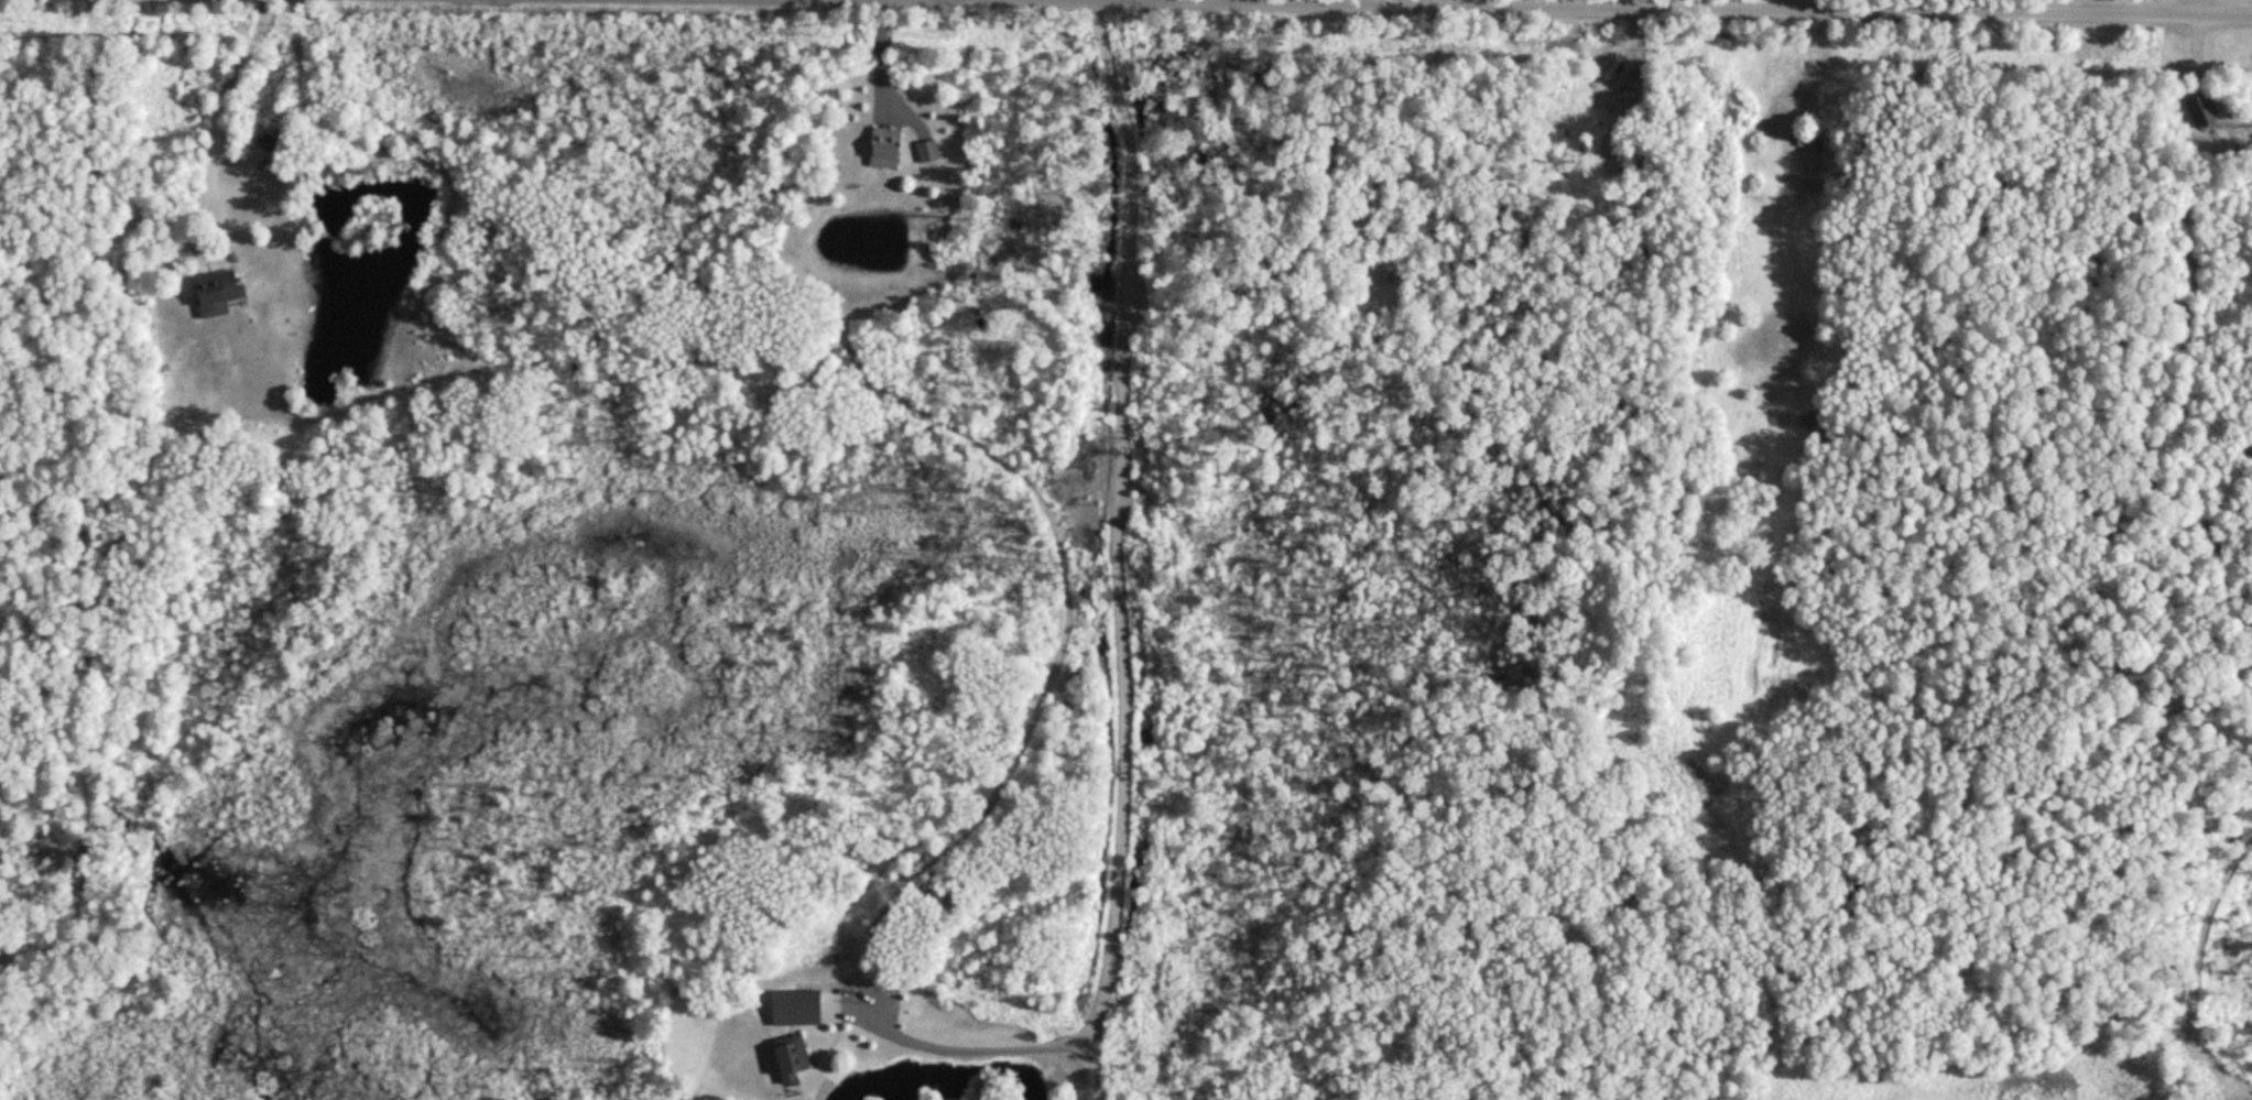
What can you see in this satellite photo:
road: (1146, 3)
road: (1429, 12)
building: (1615, 79)
road: (227, 92)
building: (2206, 112)
building: (272, 140)
building: (1815, 140)
building: (892, 149)
building: (933, 152)
road: (207, 247)
building: (222, 292)
road: (1118, 552)
building: (802, 1008)
road: (976, 1047)
building: (799, 1056)

